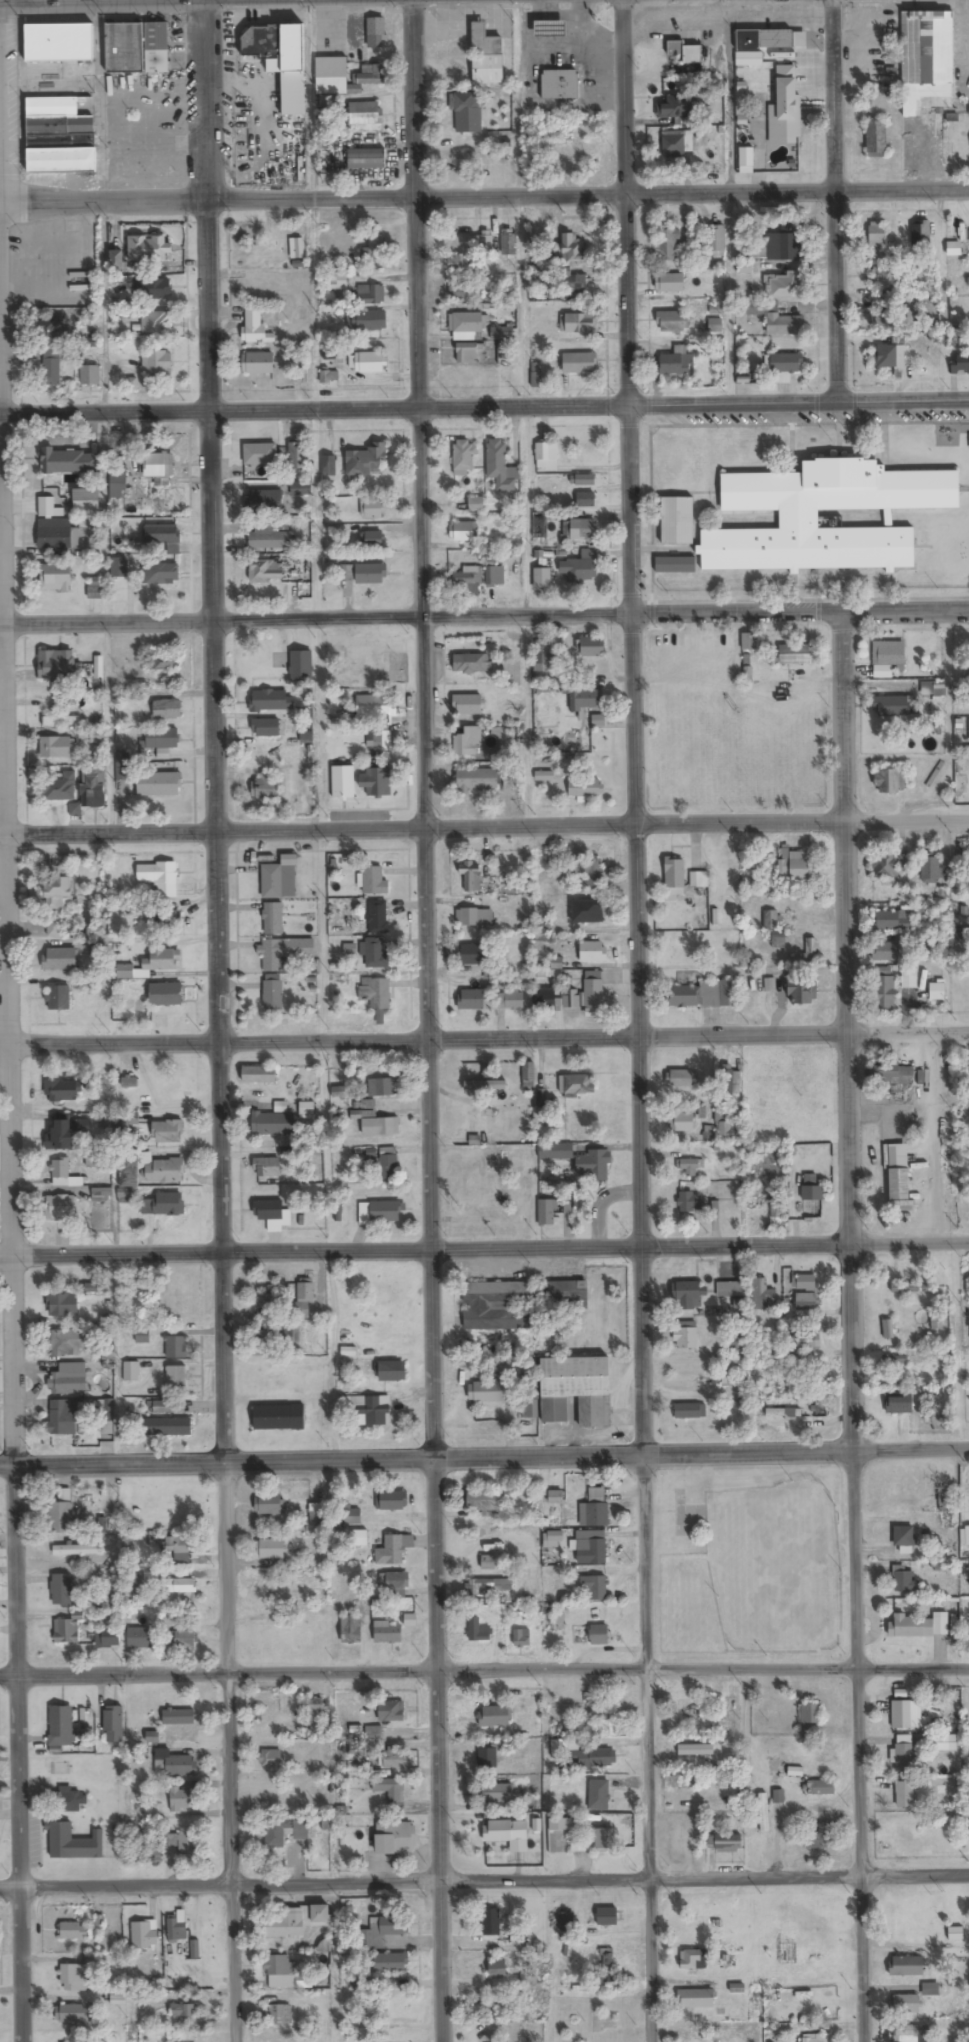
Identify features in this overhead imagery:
building: (550, 29)
building: (372, 32)
building: (764, 40)
building: (58, 42)
building: (134, 48)
building: (487, 53)
building: (686, 53)
building: (926, 58)
building: (280, 60)
building: (371, 74)
building: (330, 76)
building: (558, 85)
building: (463, 103)
building: (761, 106)
building: (677, 111)
building: (364, 114)
building: (787, 116)
building: (58, 132)
building: (875, 140)
building: (676, 144)
building: (366, 160)
road: (484, 195)
building: (919, 233)
building: (875, 236)
building: (716, 241)
building: (507, 243)
building: (787, 244)
building: (667, 245)
building: (376, 247)
building: (753, 247)
building: (147, 249)
building: (572, 249)
building: (953, 249)
building: (115, 255)
building: (458, 263)
building: (884, 275)
building: (338, 282)
building: (576, 284)
building: (669, 284)
building: (785, 287)
building: (152, 290)
building: (370, 296)
road: (315, 310)
building: (892, 317)
building: (776, 320)
building: (368, 322)
building: (671, 322)
building: (466, 323)
building: (156, 324)
building: (580, 324)
building: (715, 326)
building: (255, 328)
building: (54, 330)
building: (466, 354)
building: (888, 357)
building: (156, 363)
building: (258, 364)
building: (370, 364)
building: (579, 364)
building: (959, 364)
building: (51, 368)
building: (784, 368)
building: (510, 372)
building: (535, 375)
building: (89, 376)
building: (465, 378)
road: (484, 406)
road: (523, 413)
building: (259, 456)
building: (463, 458)
building: (546, 458)
building: (296, 460)
building: (69, 462)
building: (367, 462)
building: (158, 468)
building: (328, 468)
building: (500, 468)
building: (299, 490)
building: (85, 501)
building: (585, 501)
building: (265, 503)
building: (476, 505)
building: (50, 506)
building: (371, 510)
building: (798, 520)
building: (677, 522)
building: (539, 527)
building: (580, 530)
building: (465, 532)
building: (162, 535)
building: (57, 538)
building: (371, 541)
building: (270, 542)
building: (674, 565)
building: (581, 569)
building: (265, 572)
building: (161, 574)
building: (345, 574)
building: (371, 575)
building: (494, 576)
building: (55, 578)
building: (541, 580)
building: (466, 584)
building: (94, 588)
road: (484, 617)
building: (592, 647)
building: (793, 656)
building: (541, 657)
building: (887, 659)
building: (164, 663)
building: (471, 664)
building: (300, 665)
building: (58, 666)
building: (932, 689)
building: (584, 700)
building: (268, 701)
building: (375, 706)
building: (469, 706)
building: (891, 708)
building: (167, 710)
building: (58, 720)
building: (266, 728)
building: (97, 737)
building: (162, 739)
building: (378, 741)
building: (467, 743)
building: (57, 747)
building: (266, 754)
building: (476, 780)
building: (886, 781)
building: (342, 782)
building: (376, 782)
building: (159, 785)
building: (61, 788)
building: (93, 788)
building: (266, 788)
building: (584, 788)
road: (484, 827)
road: (320, 829)
building: (795, 865)
building: (883, 865)
building: (930, 870)
building: (587, 871)
building: (471, 877)
building: (159, 878)
building: (674, 878)
building: (279, 879)
building: (698, 880)
building: (374, 882)
building: (58, 893)
building: (587, 912)
building: (377, 917)
building: (473, 918)
building: (272, 919)
building: (770, 919)
building: (169, 921)
building: (891, 921)
building: (53, 929)
building: (95, 931)
building: (592, 952)
building: (887, 952)
building: (283, 953)
building: (374, 953)
building: (807, 953)
building: (472, 955)
building: (59, 959)
building: (163, 959)
building: (909, 979)
building: (594, 990)
building: (801, 992)
building: (936, 992)
building: (375, 993)
building: (884, 993)
building: (165, 994)
building: (272, 995)
building: (703, 995)
building: (58, 998)
building: (545, 998)
building: (470, 1000)
building: (514, 1001)
road: (222, 1020)
road: (426, 1020)
road: (639, 1020)
road: (846, 1020)
road: (484, 1036)
building: (528, 1074)
building: (259, 1075)
building: (680, 1079)
building: (484, 1085)
building: (576, 1085)
building: (382, 1088)
building: (60, 1090)
building: (904, 1092)
road: (8, 1119)
building: (126, 1121)
building: (105, 1122)
building: (680, 1122)
building: (273, 1124)
building: (380, 1127)
building: (724, 1127)
building: (166, 1132)
building: (65, 1133)
building: (555, 1152)
building: (388, 1164)
building: (592, 1166)
building: (266, 1168)
building: (690, 1168)
building: (149, 1169)
building: (63, 1175)
building: (898, 1185)
building: (101, 1195)
building: (124, 1196)
building: (687, 1203)
building: (163, 1205)
building: (60, 1208)
building: (776, 1208)
building: (812, 1208)
building: (381, 1213)
building: (547, 1214)
road: (331, 1248)
road: (484, 1249)
building: (804, 1283)
building: (911, 1288)
building: (729, 1290)
building: (567, 1295)
building: (688, 1296)
building: (761, 1296)
building: (303, 1299)
building: (805, 1301)
building: (266, 1302)
building: (62, 1305)
building: (496, 1306)
building: (887, 1329)
building: (142, 1336)
building: (685, 1336)
building: (286, 1339)
building: (808, 1340)
building: (67, 1343)
building: (175, 1348)
building: (131, 1372)
building: (389, 1372)
building: (176, 1378)
building: (68, 1380)
building: (574, 1390)
building: (486, 1392)
building: (899, 1404)
building: (168, 1407)
building: (371, 1410)
building: (529, 1410)
building: (689, 1411)
building: (783, 1413)
building: (62, 1417)
building: (278, 1418)
building: (168, 1427)
road: (484, 1456)
building: (481, 1500)
building: (392, 1501)
building: (269, 1505)
building: (594, 1509)
building: (60, 1514)
building: (316, 1514)
building: (353, 1517)
building: (966, 1536)
building: (904, 1538)
building: (590, 1548)
building: (271, 1549)
building: (76, 1550)
building: (178, 1550)
building: (393, 1550)
park: (750, 1562)
building: (487, 1563)
building: (905, 1580)
building: (396, 1581)
building: (178, 1586)
building: (488, 1587)
building: (594, 1587)
building: (61, 1590)
building: (409, 1621)
building: (919, 1626)
building: (350, 1630)
building: (477, 1631)
building: (66, 1632)
building: (387, 1633)
building: (598, 1635)
building: (106, 1638)
building: (521, 1638)
building: (140, 1639)
building: (184, 1640)
road: (484, 1673)
building: (316, 1709)
building: (391, 1712)
building: (809, 1714)
building: (902, 1715)
building: (178, 1717)
building: (494, 1717)
building: (113, 1725)
building: (61, 1727)
building: (373, 1733)
building: (943, 1742)
building: (357, 1752)
building: (903, 1753)
building: (270, 1759)
building: (486, 1759)
building: (590, 1759)
building: (394, 1760)
building: (174, 1764)
building: (820, 1788)
building: (390, 1790)
building: (496, 1793)
building: (598, 1795)
building: (904, 1795)
building: (183, 1800)
building: (763, 1813)
building: (283, 1832)
building: (498, 1832)
building: (908, 1832)
building: (558, 1835)
building: (820, 1838)
building: (395, 1839)
building: (605, 1840)
building: (171, 1841)
building: (73, 1844)
building: (186, 1844)
building: (580, 1844)
building: (728, 1844)
road: (484, 1879)
building: (607, 1917)
building: (294, 1921)
building: (491, 1923)
building: (565, 1923)
building: (704, 1924)
building: (389, 1927)
building: (174, 1930)
building: (73, 1931)
building: (955, 1934)
building: (143, 1935)
building: (779, 1942)
building: (801, 1957)
building: (692, 1960)
building: (390, 1964)
building: (279, 1966)
building: (607, 1967)
building: (905, 1967)
building: (497, 1970)
building: (73, 1978)
building: (528, 1979)
building: (303, 1983)
building: (930, 1989)
building: (695, 1999)
building: (905, 2004)
building: (183, 2011)
building: (74, 2014)
building: (278, 2015)
building: (910, 2034)
building: (817, 2038)
building: (691, 2041)

